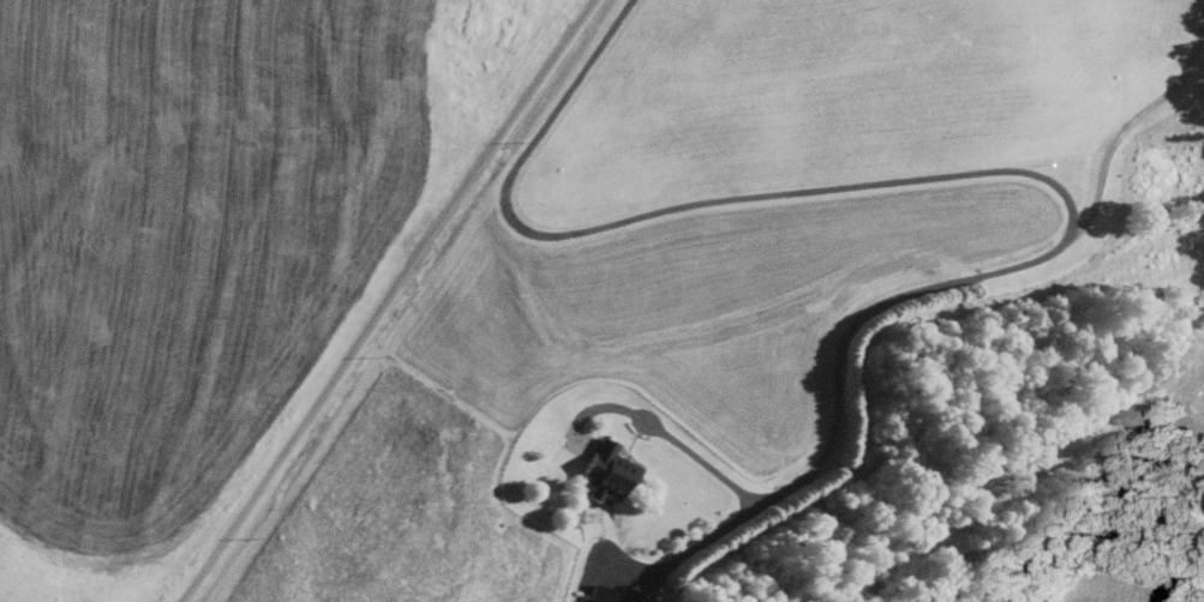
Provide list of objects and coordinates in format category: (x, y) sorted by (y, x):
road: (1132, 116)
road: (1018, 169)
road: (383, 300)
road: (581, 435)
road: (633, 438)
building: (605, 469)
road: (581, 495)
road: (603, 514)
road: (696, 544)
building: (607, 595)

